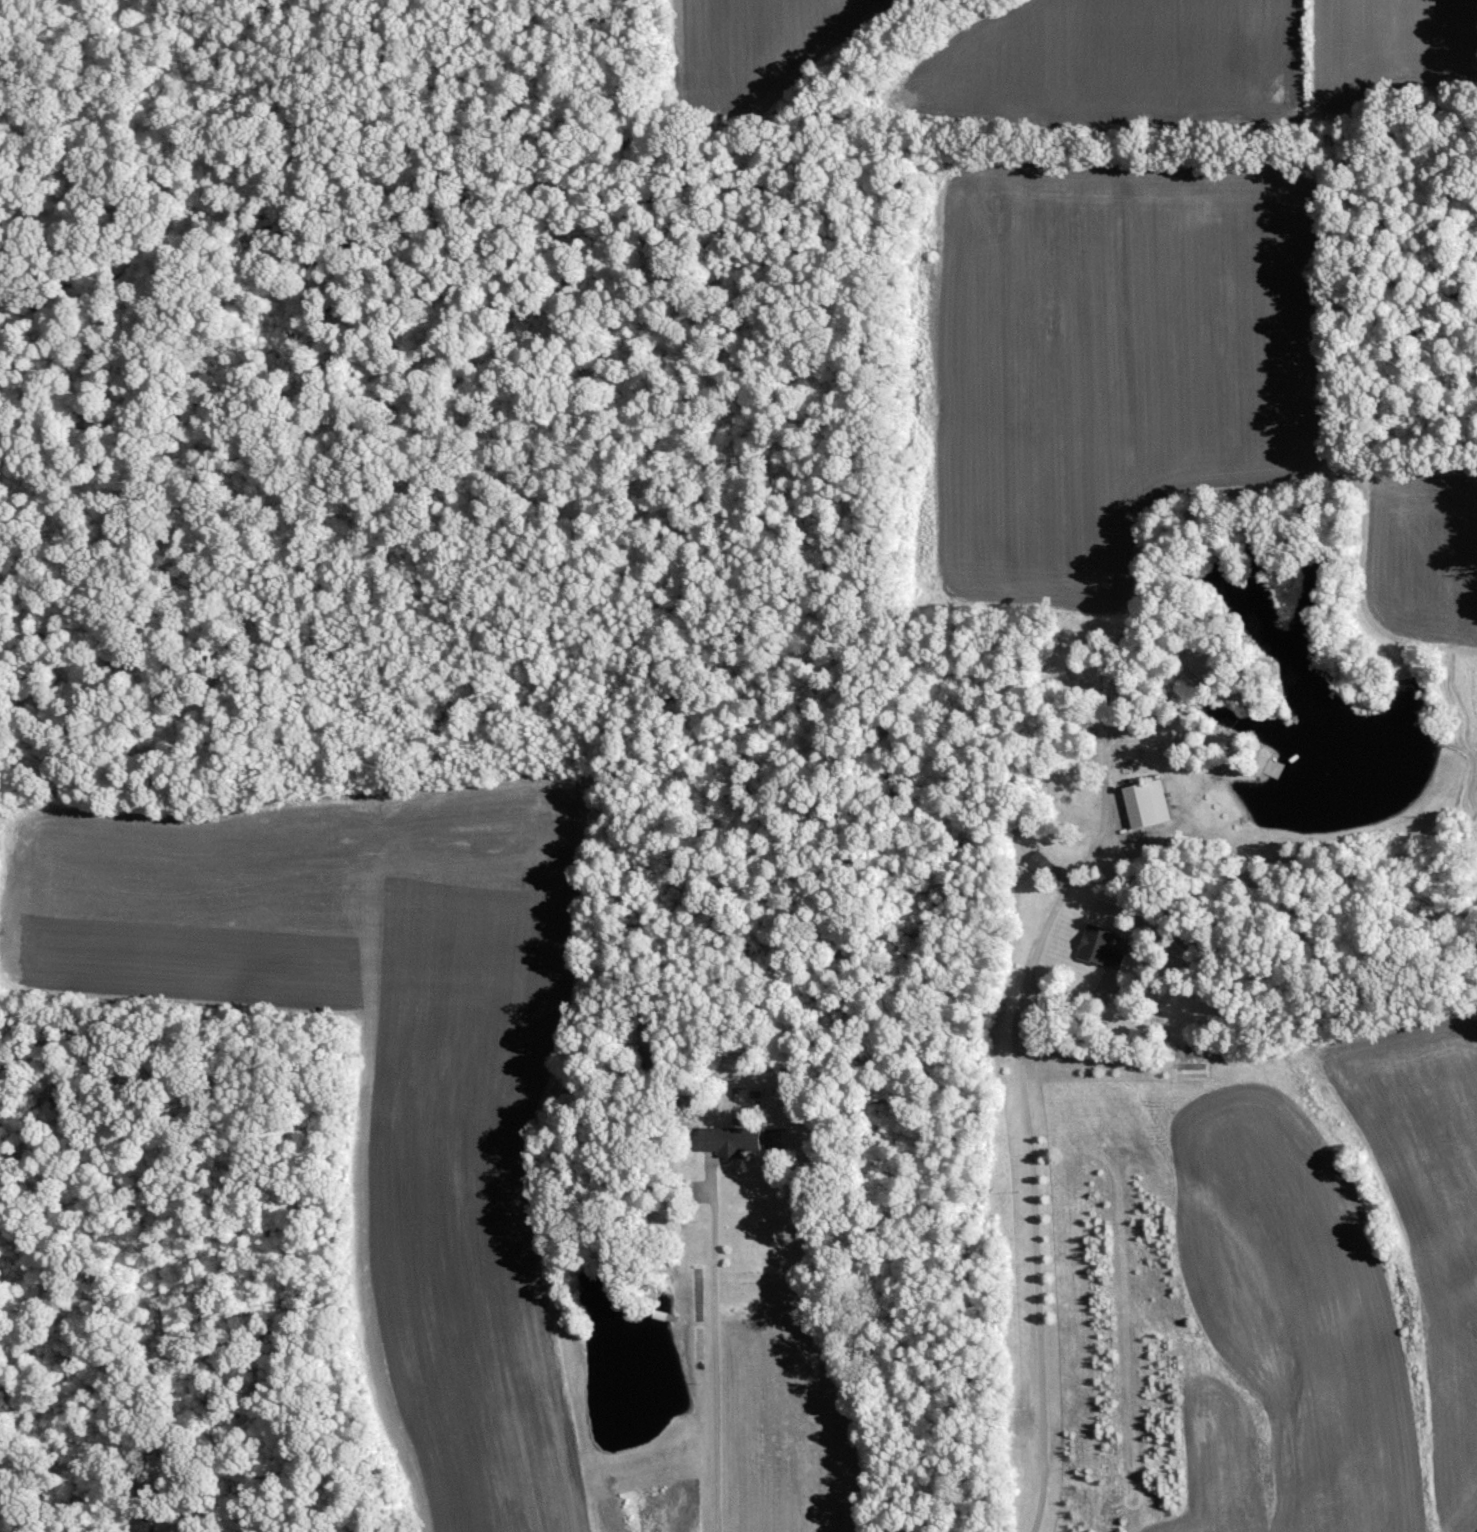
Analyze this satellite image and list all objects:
building: (1148, 804)
building: (1041, 863)
building: (1102, 948)
building: (731, 1140)

